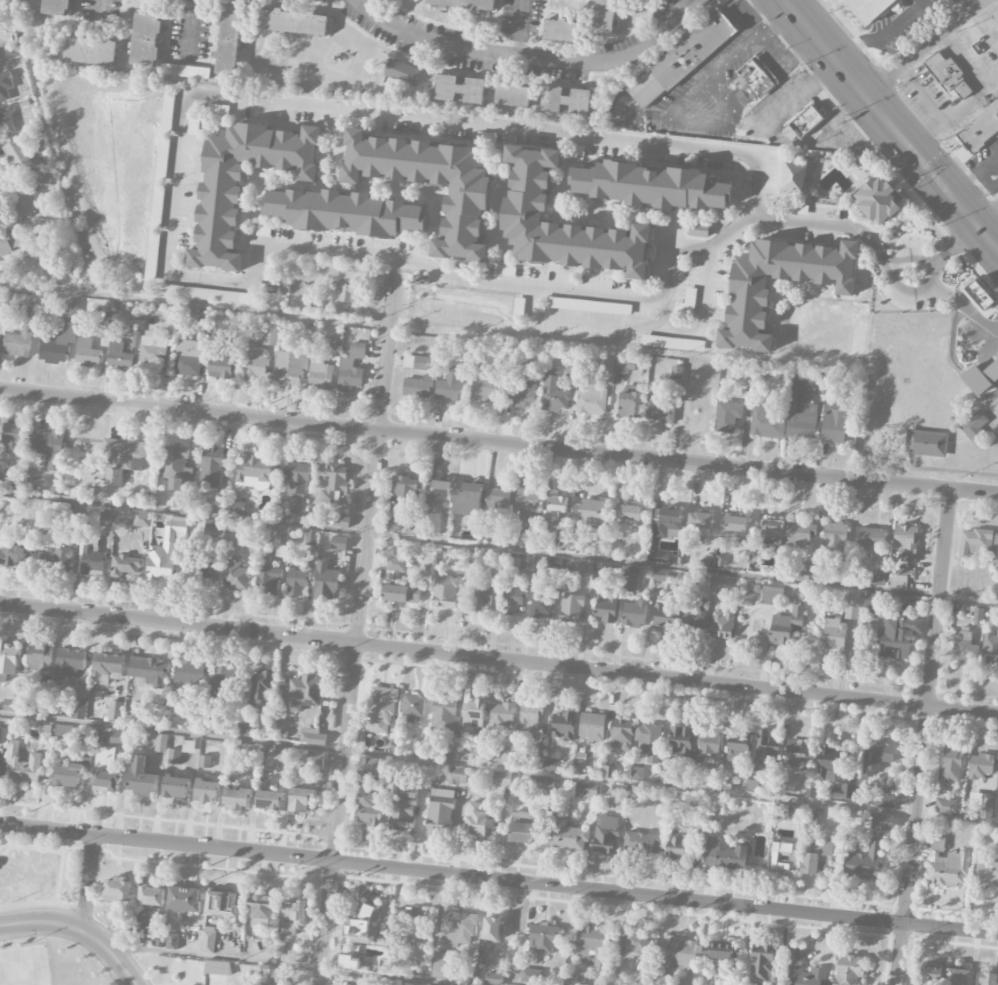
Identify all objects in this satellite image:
building: (464, 4)
building: (56, 7)
building: (869, 8)
building: (604, 18)
road: (799, 21)
building: (293, 22)
road: (519, 28)
building: (560, 30)
building: (146, 39)
road: (881, 39)
building: (229, 40)
building: (0, 47)
road: (920, 47)
building: (91, 50)
road: (732, 55)
road: (527, 58)
building: (679, 58)
building: (185, 71)
building: (401, 72)
building: (948, 76)
building: (754, 81)
road: (991, 83)
building: (5, 86)
building: (461, 89)
building: (514, 96)
building: (566, 100)
road: (965, 104)
building: (6, 121)
building: (803, 124)
building: (980, 129)
road: (52, 147)
road: (907, 149)
building: (18, 154)
building: (161, 167)
road: (973, 174)
building: (794, 177)
building: (652, 186)
building: (528, 195)
building: (26, 200)
building: (879, 201)
building: (157, 206)
building: (466, 211)
building: (348, 213)
building: (218, 215)
road: (987, 219)
building: (698, 230)
building: (9, 243)
road: (955, 247)
road: (906, 251)
building: (151, 263)
building: (269, 273)
road: (204, 279)
building: (346, 281)
building: (380, 281)
building: (204, 294)
building: (749, 295)
building: (978, 295)
road: (640, 300)
building: (687, 303)
road: (964, 303)
road: (194, 306)
building: (586, 306)
building: (34, 310)
building: (71, 310)
building: (236, 322)
building: (171, 323)
building: (103, 331)
building: (269, 332)
building: (332, 342)
building: (18, 343)
building: (672, 343)
building: (57, 344)
building: (152, 350)
building: (86, 354)
building: (118, 356)
building: (187, 358)
building: (415, 362)
building: (293, 363)
building: (254, 365)
building: (605, 365)
building: (625, 366)
building: (220, 368)
building: (351, 369)
building: (572, 370)
building: (320, 376)
building: (976, 380)
building: (418, 387)
building: (451, 387)
building: (484, 387)
building: (523, 393)
building: (553, 393)
building: (591, 399)
building: (630, 402)
building: (660, 409)
building: (802, 413)
building: (727, 416)
building: (766, 422)
building: (834, 423)
building: (974, 427)
building: (13, 437)
road: (498, 443)
building: (926, 443)
building: (49, 447)
building: (126, 458)
building: (1, 462)
building: (175, 467)
building: (211, 467)
building: (255, 469)
building: (297, 477)
building: (334, 482)
building: (254, 488)
building: (405, 488)
building: (438, 491)
building: (497, 499)
building: (468, 500)
building: (181, 502)
building: (528, 503)
building: (557, 506)
building: (590, 511)
building: (628, 513)
building: (107, 518)
building: (141, 520)
building: (667, 524)
building: (395, 526)
building: (734, 528)
building: (212, 529)
building: (771, 533)
building: (801, 534)
building: (282, 535)
building: (230, 537)
building: (311, 538)
building: (871, 538)
building: (515, 539)
building: (834, 539)
building: (975, 542)
building: (339, 543)
building: (905, 544)
building: (995, 544)
road: (498, 549)
building: (281, 552)
building: (165, 553)
building: (13, 555)
building: (467, 556)
building: (55, 561)
building: (92, 562)
building: (396, 564)
building: (125, 566)
building: (583, 566)
building: (496, 571)
building: (806, 572)
building: (236, 575)
building: (842, 576)
building: (900, 578)
building: (628, 579)
building: (659, 579)
building: (326, 580)
building: (692, 580)
building: (268, 581)
building: (296, 583)
building: (719, 583)
building: (445, 592)
building: (401, 594)
building: (772, 596)
building: (482, 599)
building: (512, 601)
building: (541, 603)
building: (852, 605)
building: (571, 609)
building: (606, 609)
building: (634, 614)
building: (665, 614)
building: (977, 615)
building: (694, 616)
road: (359, 622)
building: (722, 624)
building: (786, 626)
building: (898, 634)
building: (834, 635)
building: (964, 647)
building: (990, 648)
building: (39, 658)
road: (499, 658)
building: (8, 661)
building: (69, 663)
building: (108, 664)
building: (148, 670)
building: (190, 673)
building: (220, 680)
building: (260, 688)
building: (304, 693)
building: (13, 700)
building: (79, 704)
building: (414, 707)
building: (381, 710)
building: (115, 712)
building: (444, 714)
building: (501, 715)
building: (472, 717)
building: (528, 719)
building: (563, 726)
building: (592, 727)
building: (64, 731)
building: (247, 731)
building: (621, 734)
building: (3, 735)
building: (45, 735)
building: (313, 737)
road: (925, 737)
building: (119, 738)
building: (648, 741)
building: (680, 742)
building: (161, 743)
building: (708, 743)
building: (418, 745)
building: (738, 746)
building: (251, 751)
building: (765, 753)
building: (282, 754)
building: (105, 755)
building: (796, 755)
building: (174, 757)
building: (876, 757)
building: (506, 758)
building: (316, 761)
building: (204, 762)
building: (831, 762)
building: (578, 764)
building: (22, 765)
building: (551, 765)
building: (951, 766)
building: (980, 766)
road: (498, 770)
building: (637, 774)
building: (69, 776)
building: (455, 776)
building: (142, 778)
building: (501, 778)
building: (106, 781)
building: (545, 783)
building: (176, 787)
building: (586, 790)
building: (207, 791)
building: (844, 792)
building: (370, 794)
building: (237, 799)
building: (302, 799)
building: (269, 800)
building: (884, 801)
building: (986, 806)
building: (946, 807)
building: (403, 809)
building: (440, 812)
building: (810, 816)
building: (476, 820)
building: (882, 823)
building: (520, 833)
building: (606, 835)
building: (568, 837)
building: (939, 843)
building: (643, 844)
road: (44, 846)
building: (679, 846)
building: (725, 855)
building: (779, 856)
building: (818, 859)
road: (837, 860)
building: (864, 861)
building: (948, 870)
building: (986, 872)
park: (42, 875)
road: (56, 875)
road: (499, 879)
road: (86, 882)
building: (118, 891)
building: (151, 896)
building: (184, 900)
road: (41, 902)
building: (222, 904)
building: (261, 912)
building: (294, 912)
building: (413, 922)
building: (143, 925)
building: (360, 927)
building: (459, 927)
road: (78, 929)
building: (492, 929)
building: (542, 938)
building: (208, 940)
building: (637, 946)
building: (592, 947)
building: (679, 954)
building: (722, 955)
building: (798, 959)
building: (350, 963)
building: (762, 963)
road: (285, 965)
park: (23, 966)
building: (443, 966)
building: (217, 968)
building: (849, 970)
building: (530, 976)
building: (931, 976)
building: (958, 977)
building: (987, 978)
building: (494, 979)
building: (574, 979)

